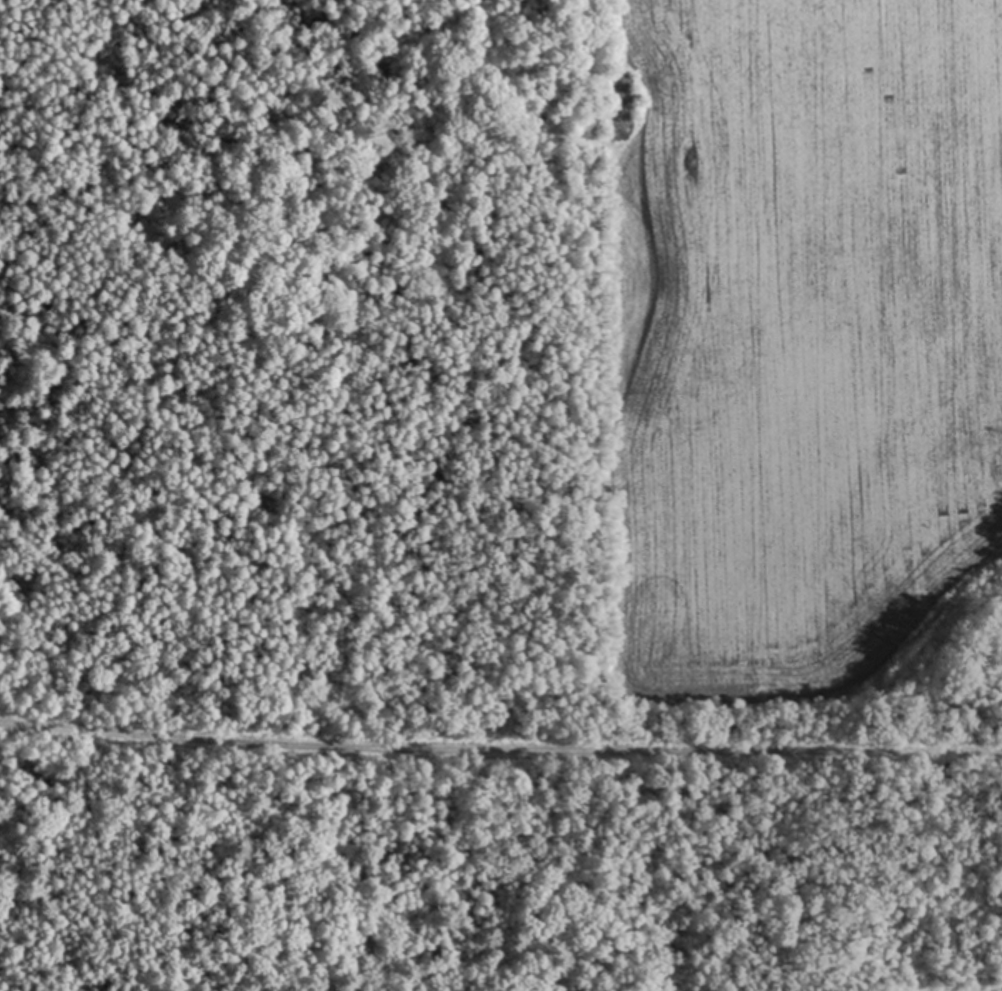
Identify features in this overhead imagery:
road: (500, 747)

